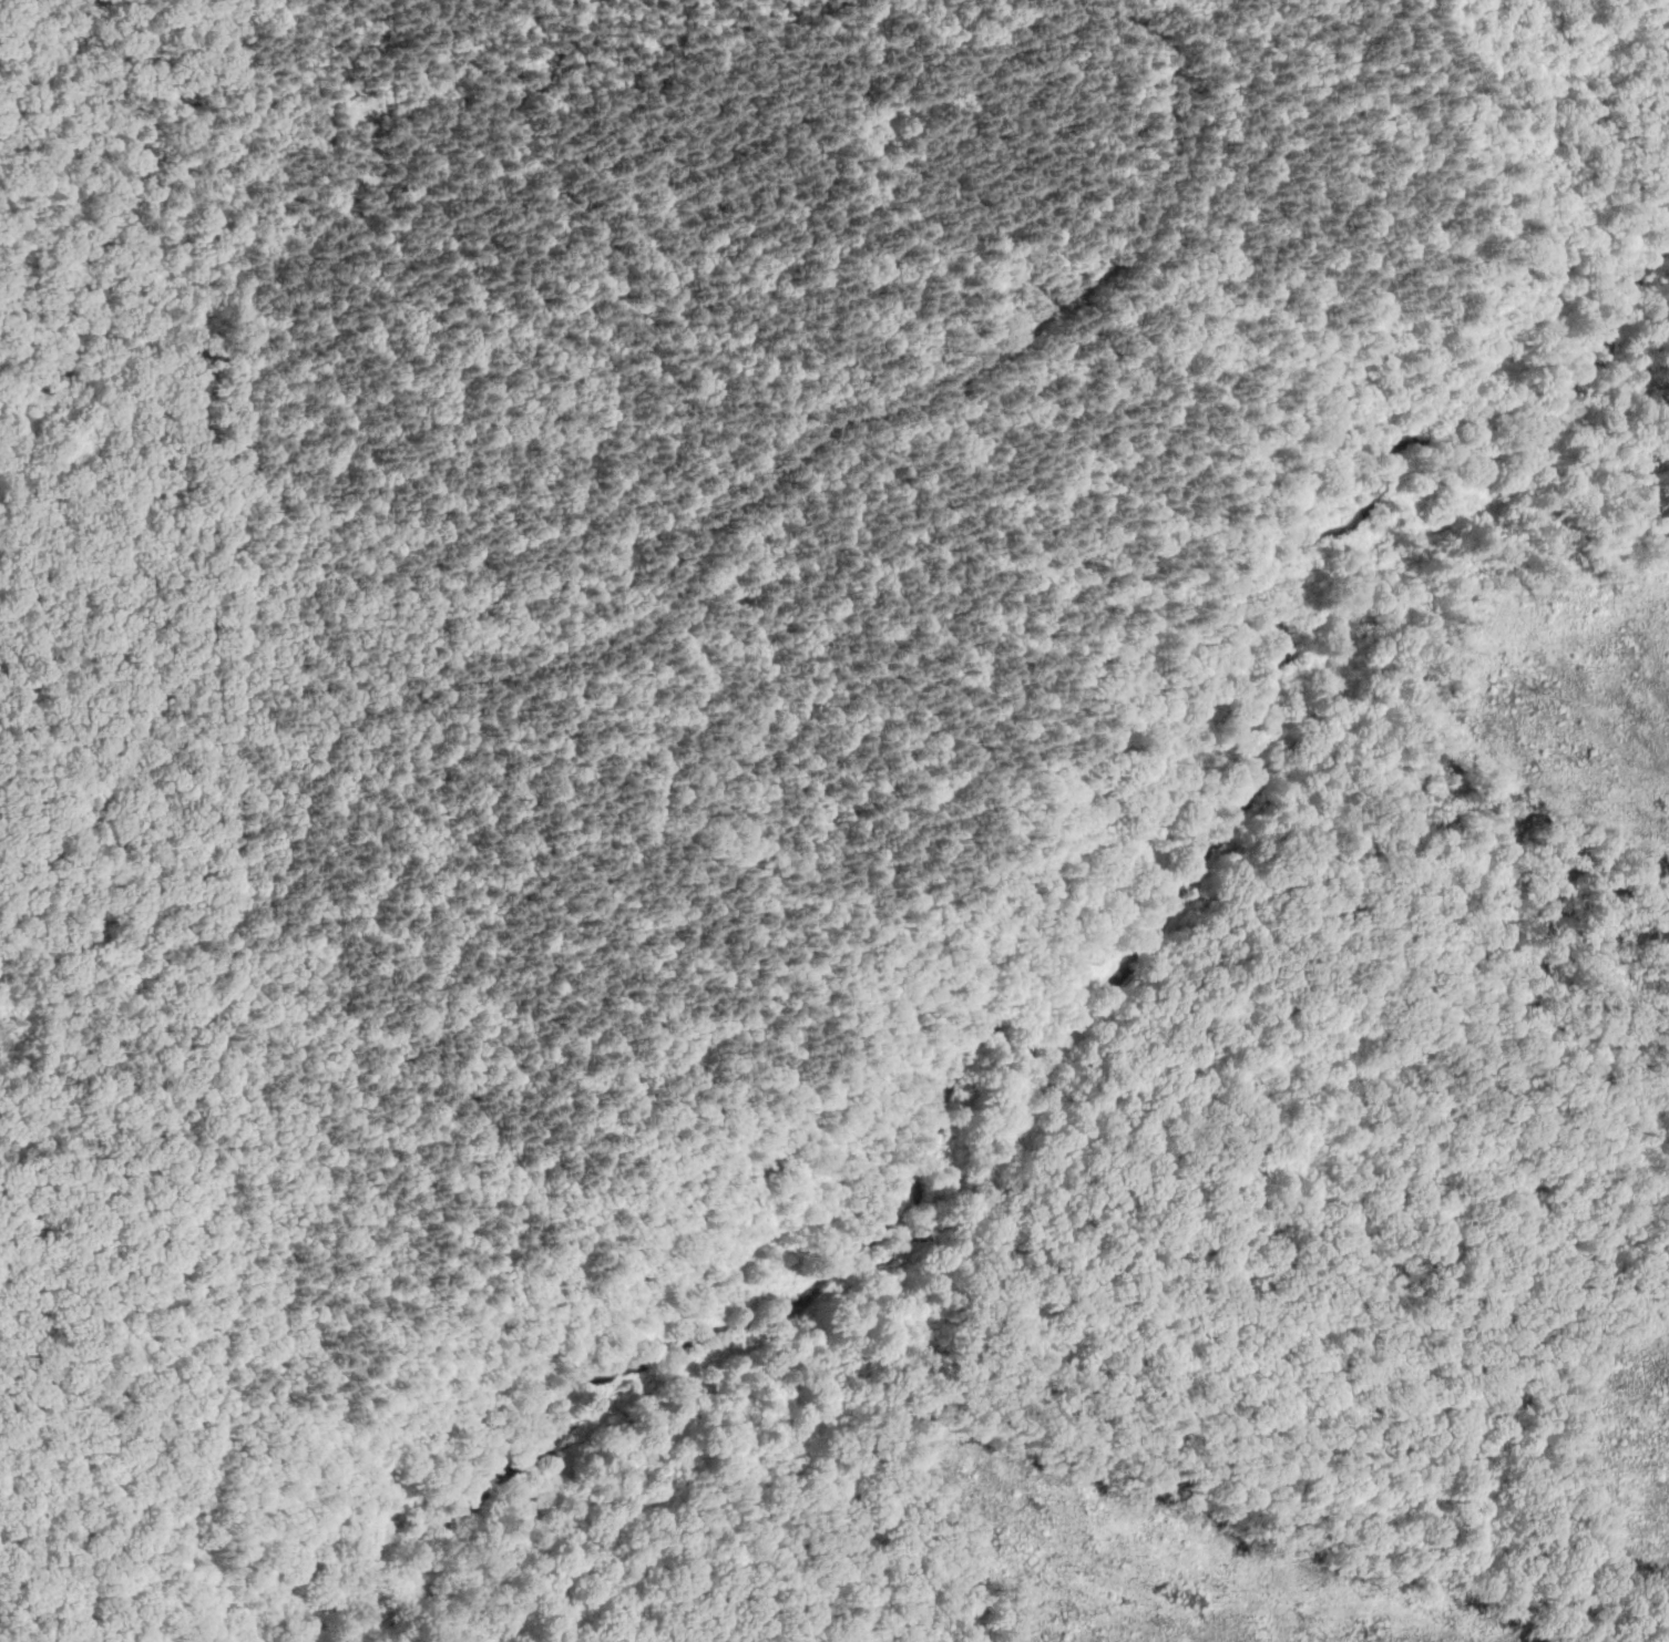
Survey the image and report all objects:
road: (909, 391)

